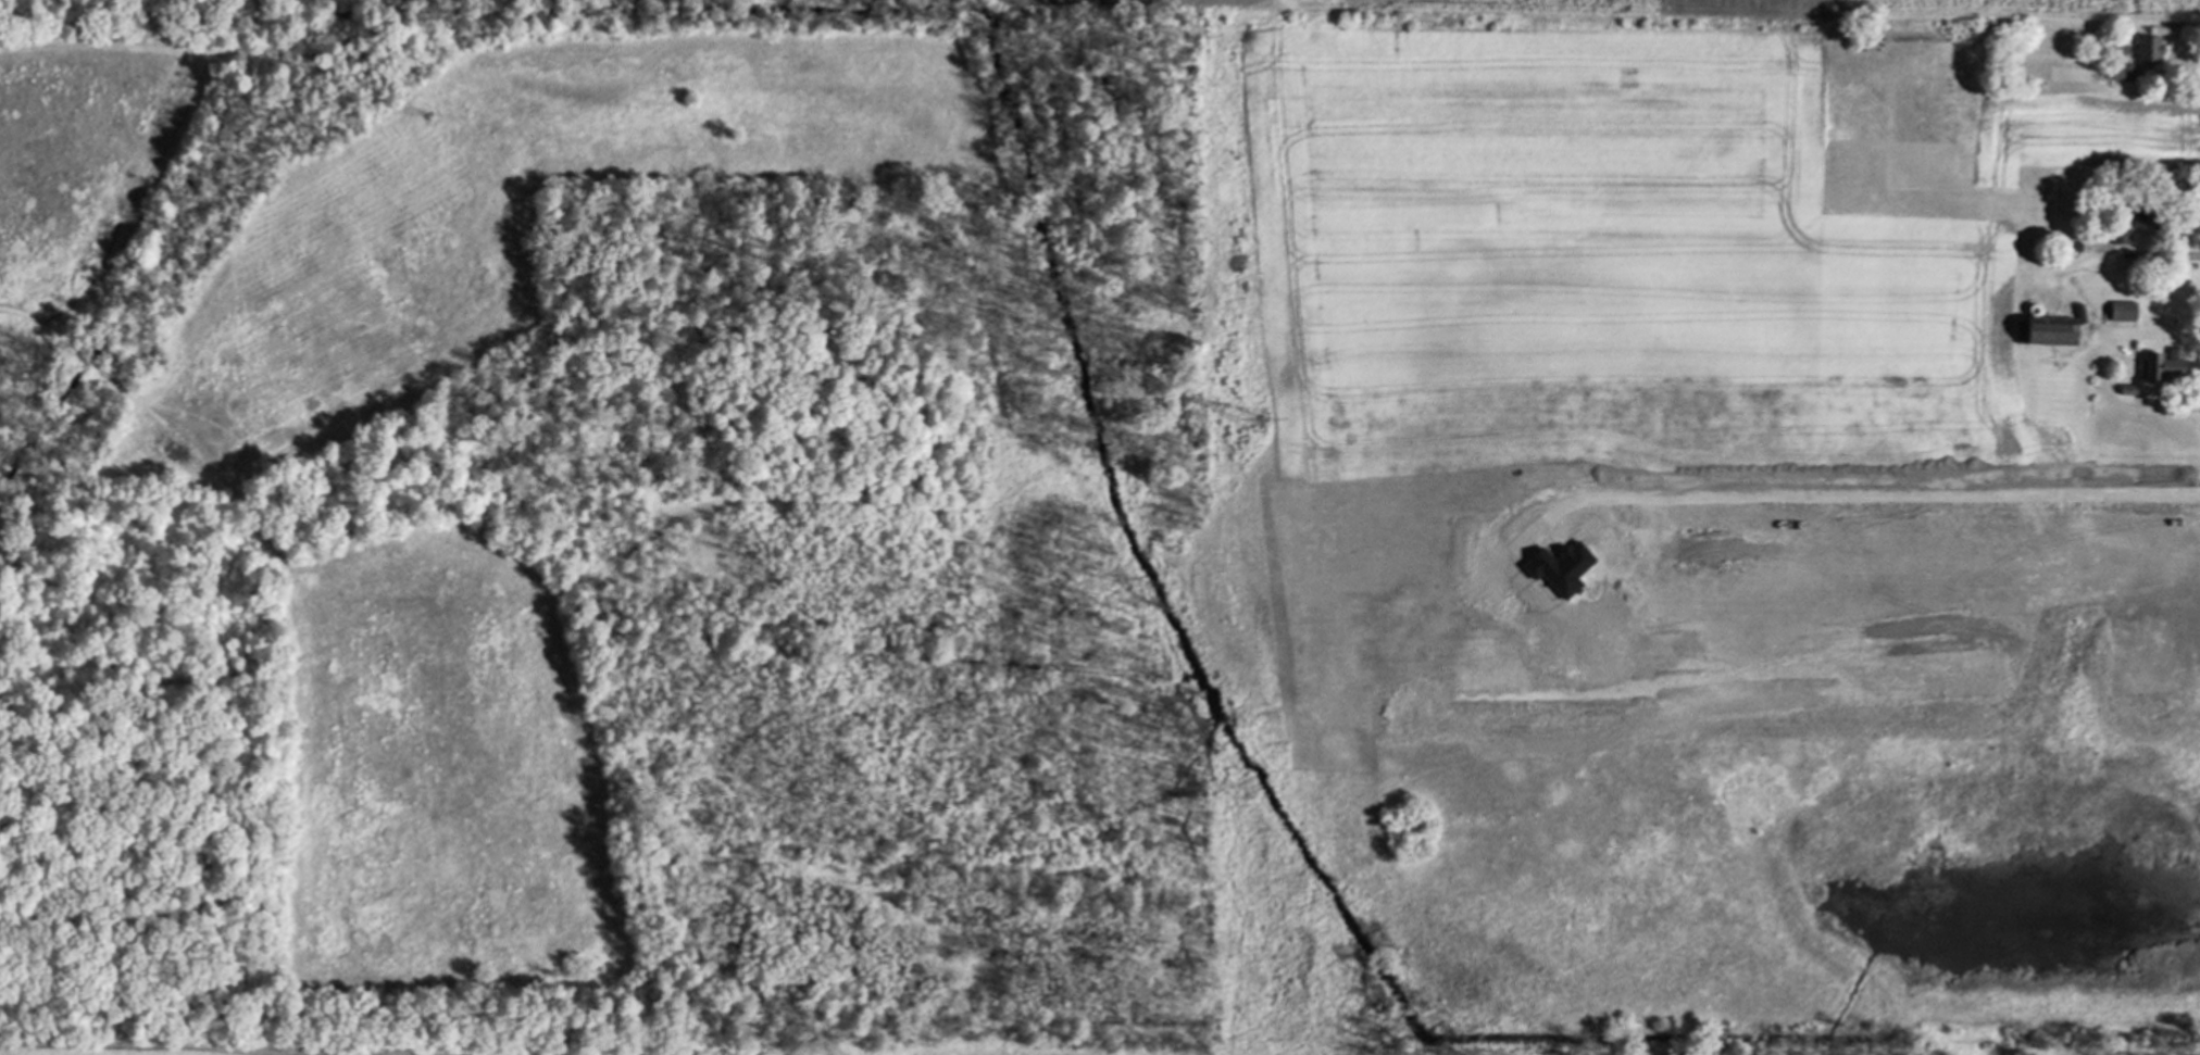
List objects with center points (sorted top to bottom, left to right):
crop: (339, 0)
building: (2148, 48)
building: (2120, 71)
building: (2142, 219)
building: (2121, 249)
road: (2159, 255)
building: (2121, 311)
building: (2048, 328)
building: (2159, 365)
road: (2102, 370)
crop: (1673, 406)
power tower: (1255, 424)
road: (1884, 487)
park: (1713, 903)
crop: (290, 1050)

